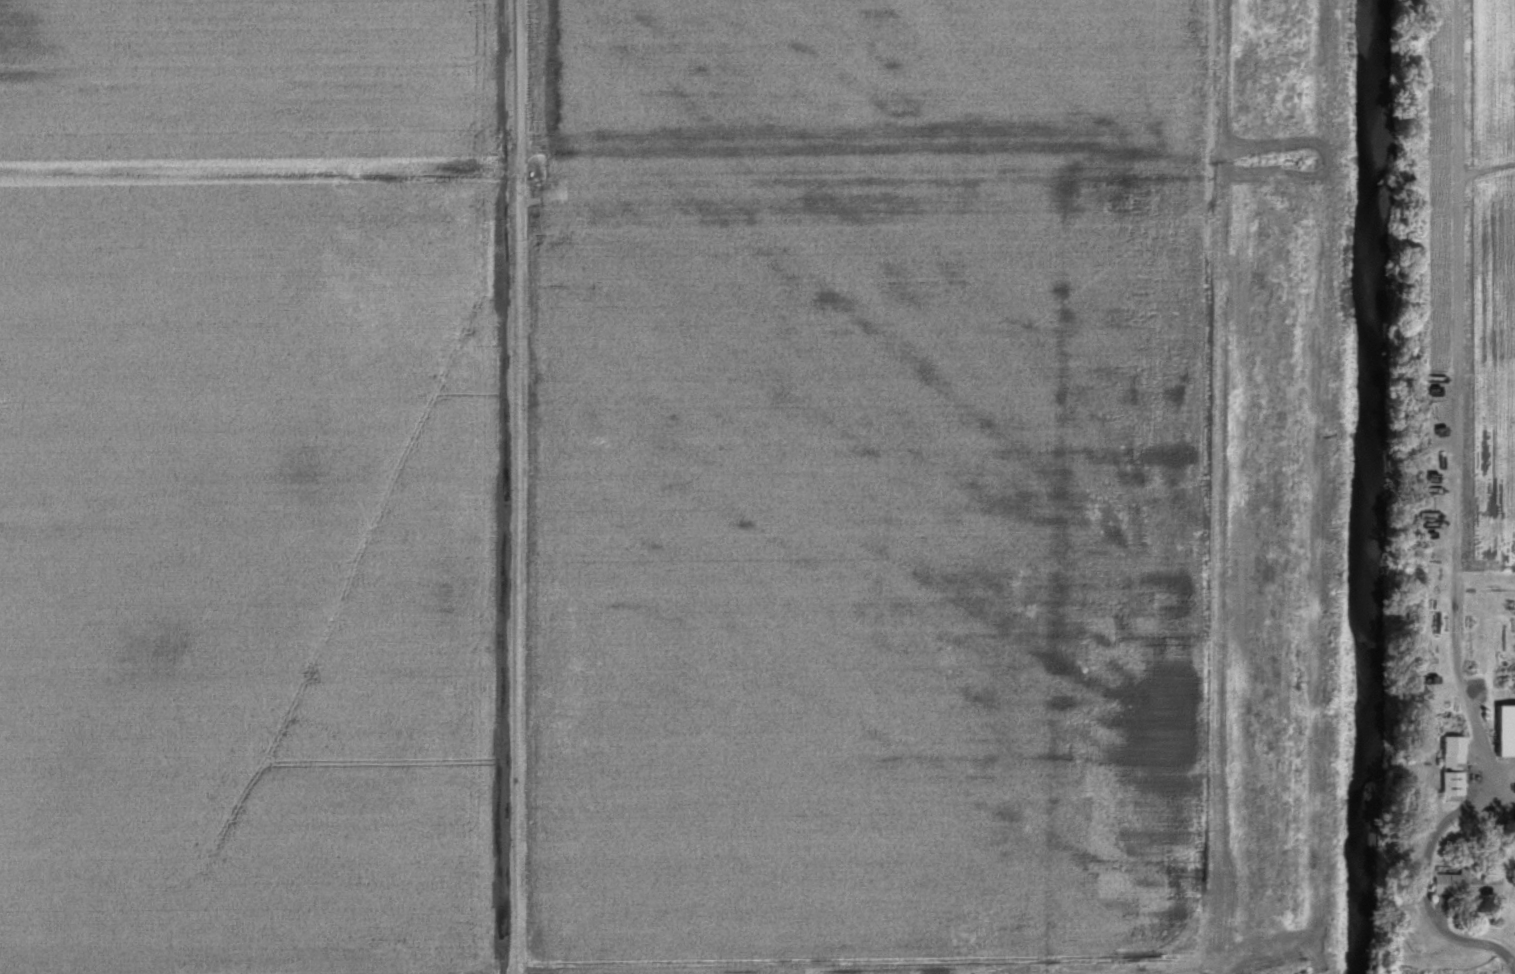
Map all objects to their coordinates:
river: (1362, 486)
road: (1457, 531)
road: (1440, 669)
building: (1505, 729)
building: (1465, 883)

